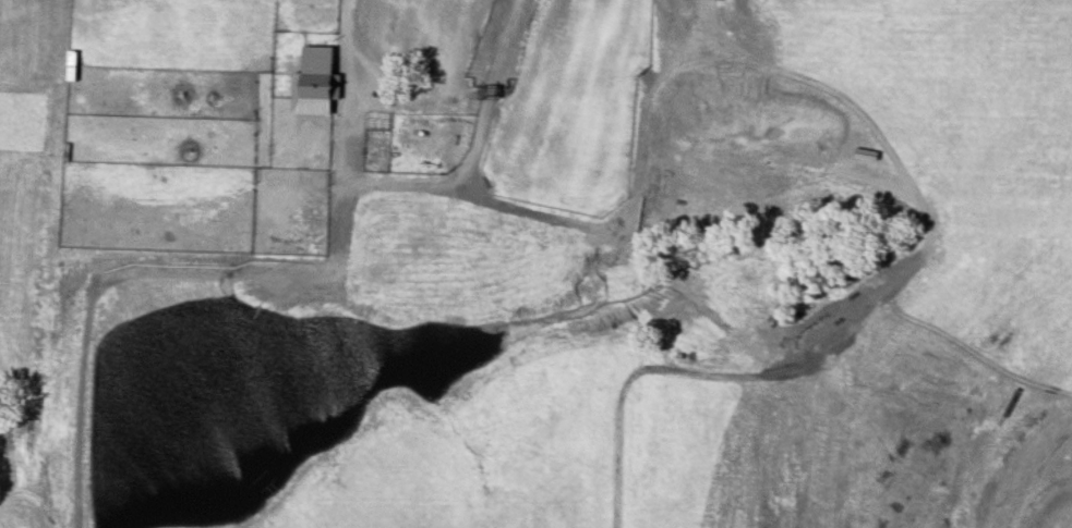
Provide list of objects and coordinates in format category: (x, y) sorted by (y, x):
building: (409, 45)
building: (321, 86)
building: (324, 123)
building: (482, 144)
road: (408, 177)

